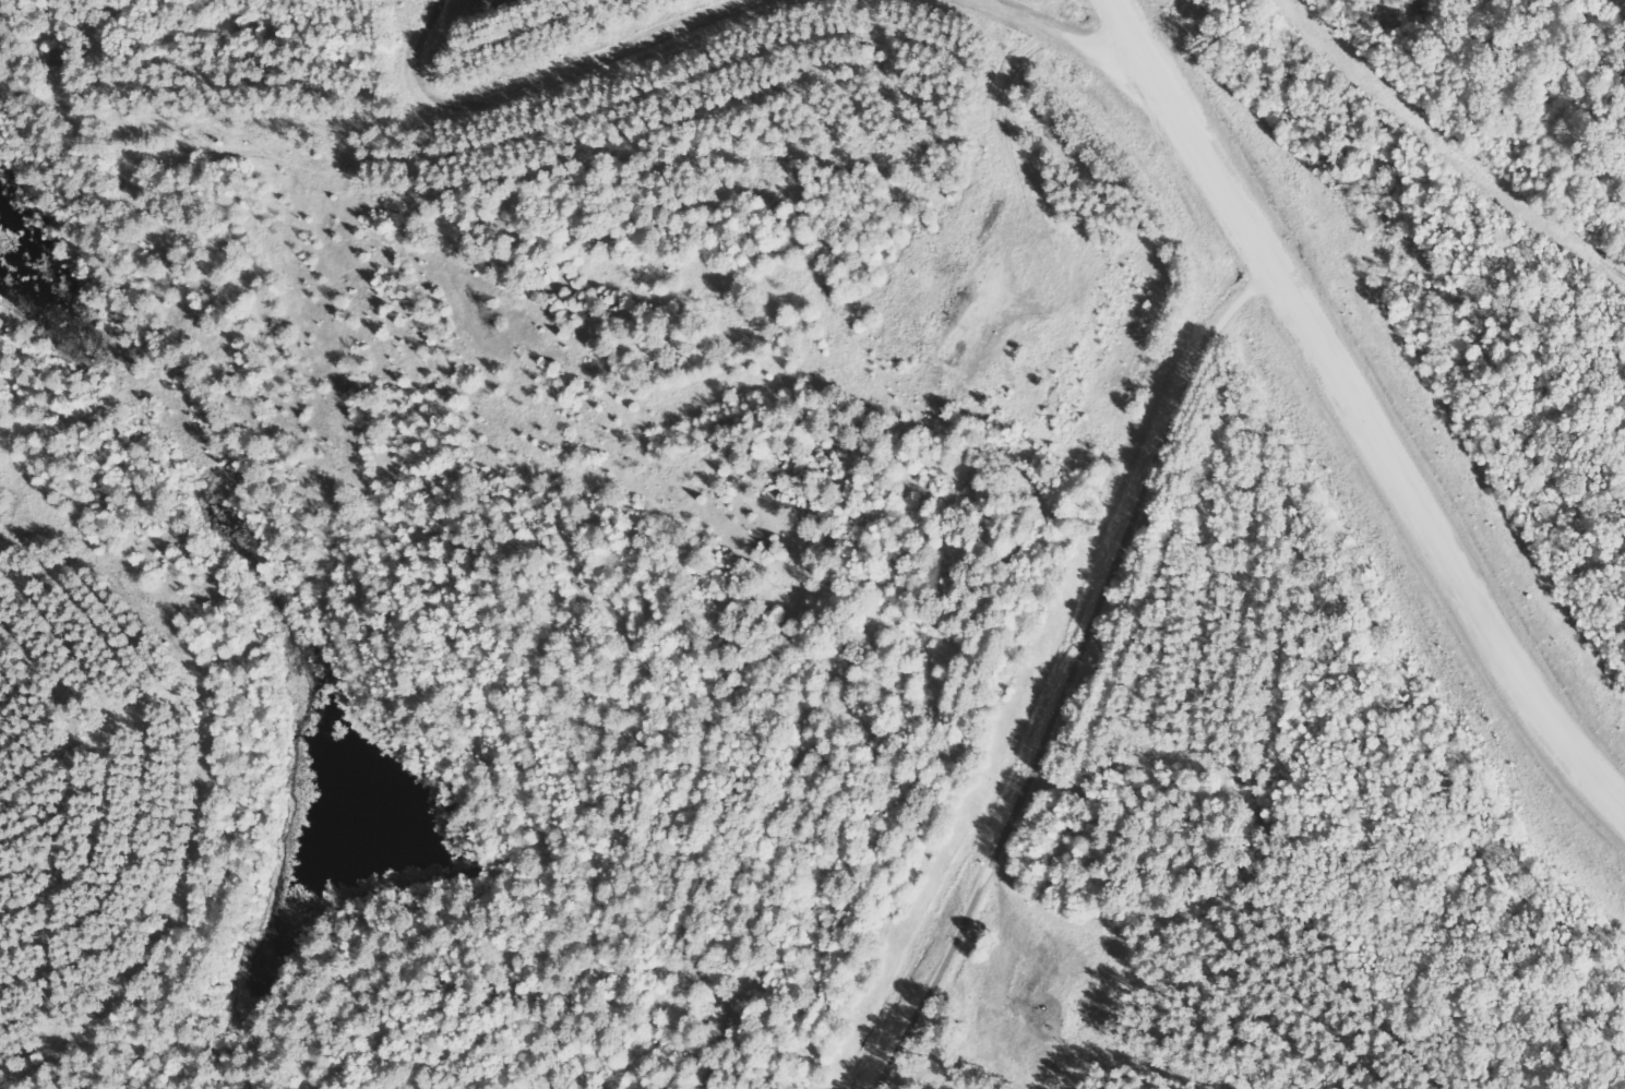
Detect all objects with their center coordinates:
road: (1357, 411)

